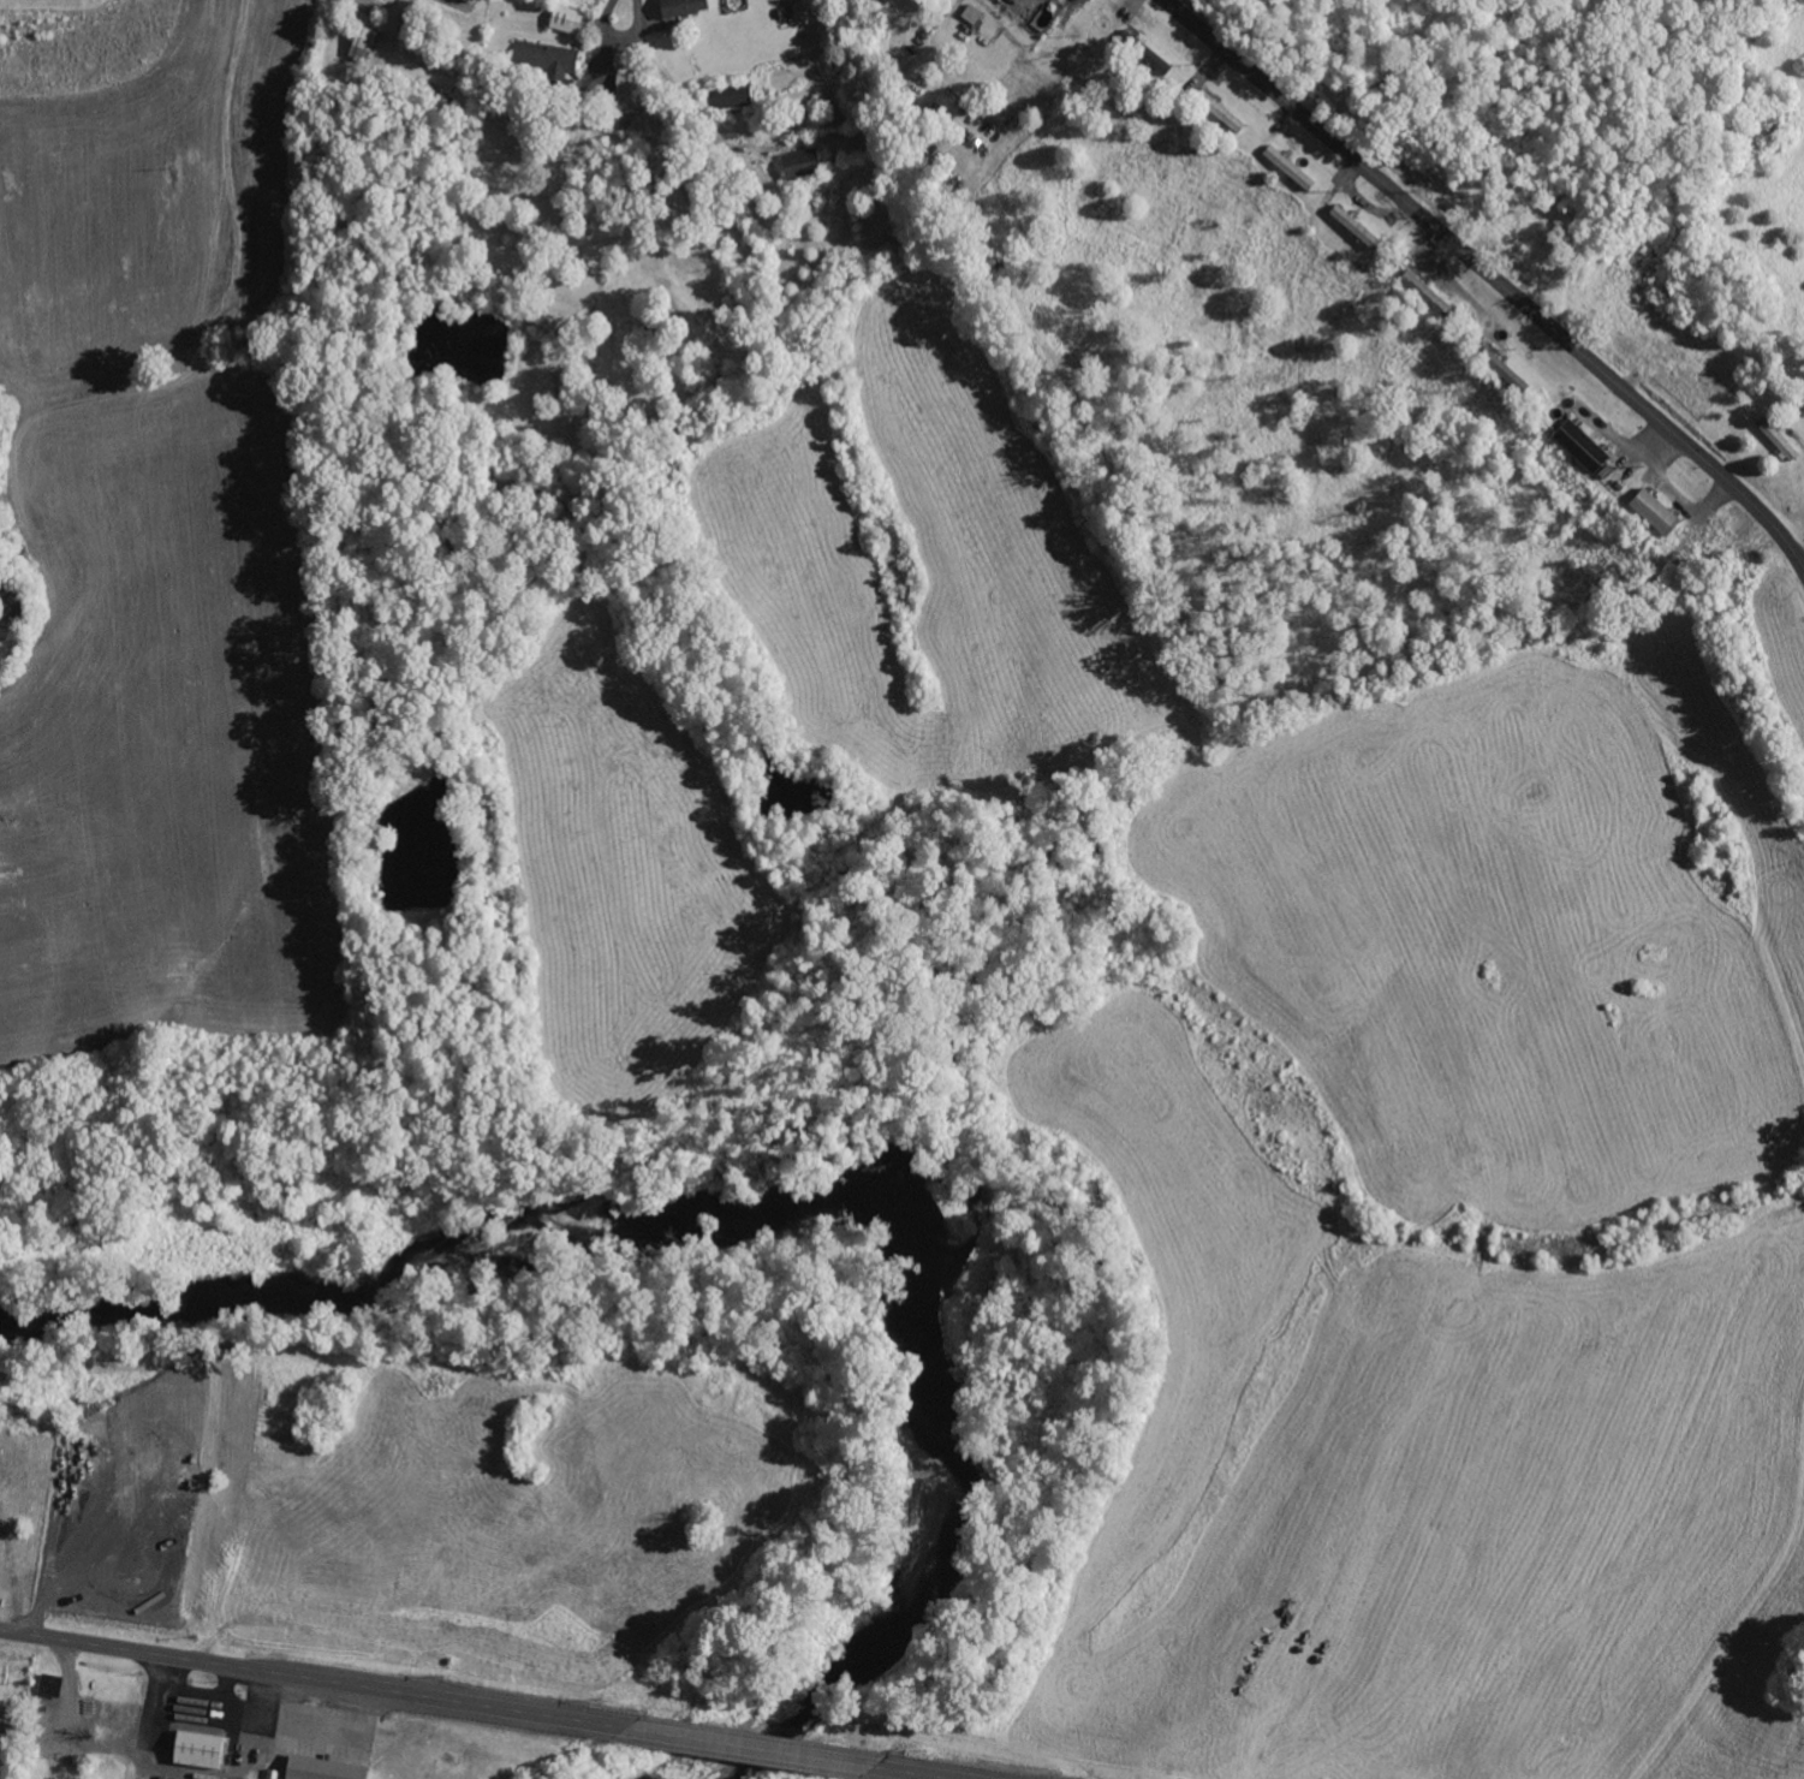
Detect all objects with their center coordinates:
building: (681, 7)
building: (971, 14)
building: (566, 19)
building: (1149, 55)
building: (625, 93)
building: (732, 97)
building: (799, 162)
building: (1352, 224)
road: (1490, 275)
road: (201, 346)
building: (1502, 369)
building: (1580, 445)
building: (1654, 512)
road: (472, 1704)
building: (196, 1750)
building: (321, 1768)

